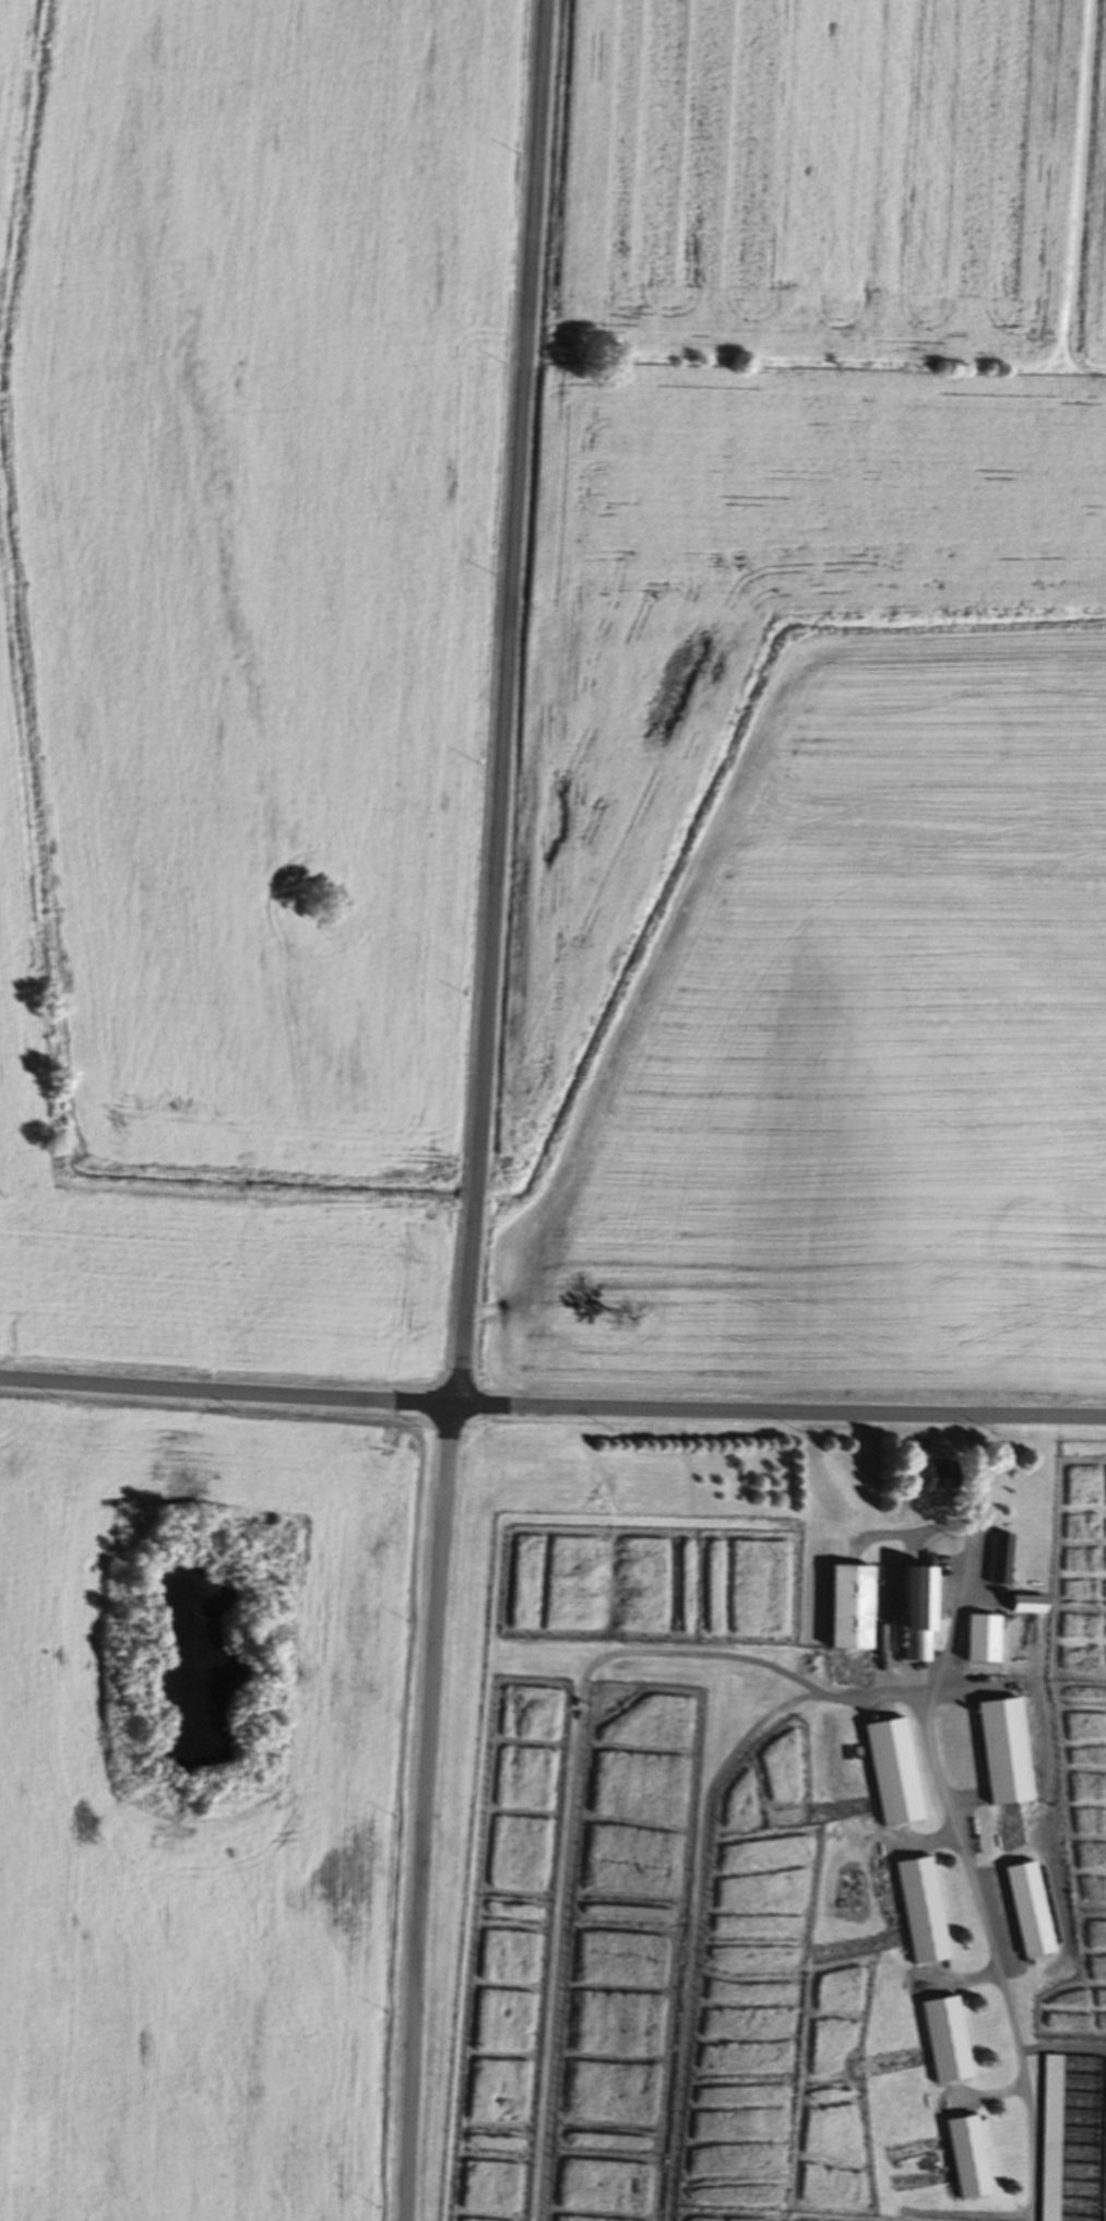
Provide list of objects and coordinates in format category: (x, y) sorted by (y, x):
road: (475, 1110)
road: (552, 1406)
building: (949, 1480)
building: (1004, 1561)
building: (1033, 1607)
building: (853, 1610)
building: (921, 1617)
building: (986, 1642)
road: (937, 1755)
building: (1007, 1755)
building: (894, 1775)
building: (923, 1914)
building: (948, 2043)
building: (970, 2160)

